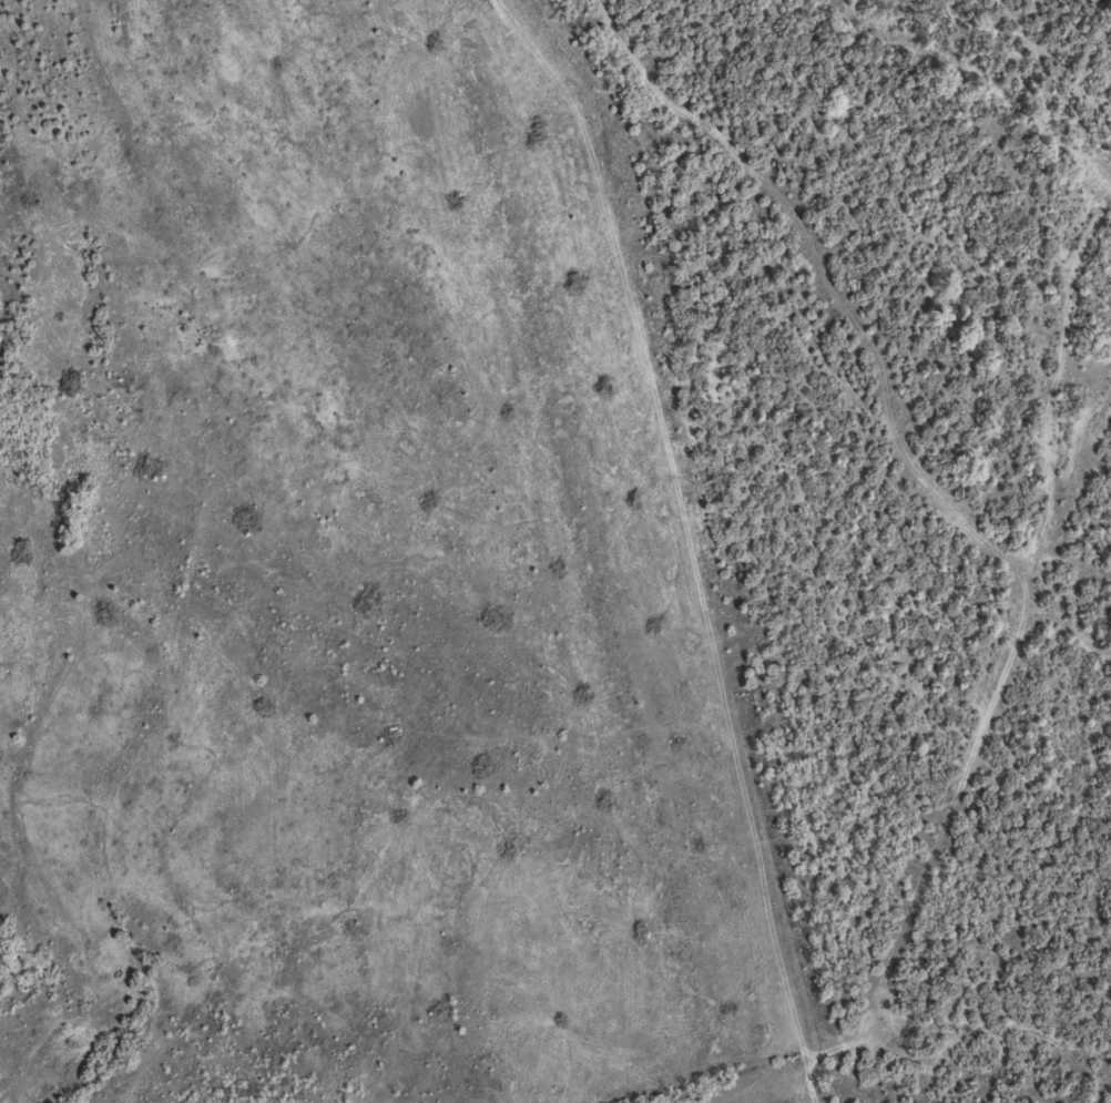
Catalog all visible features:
road: (880, 539)

